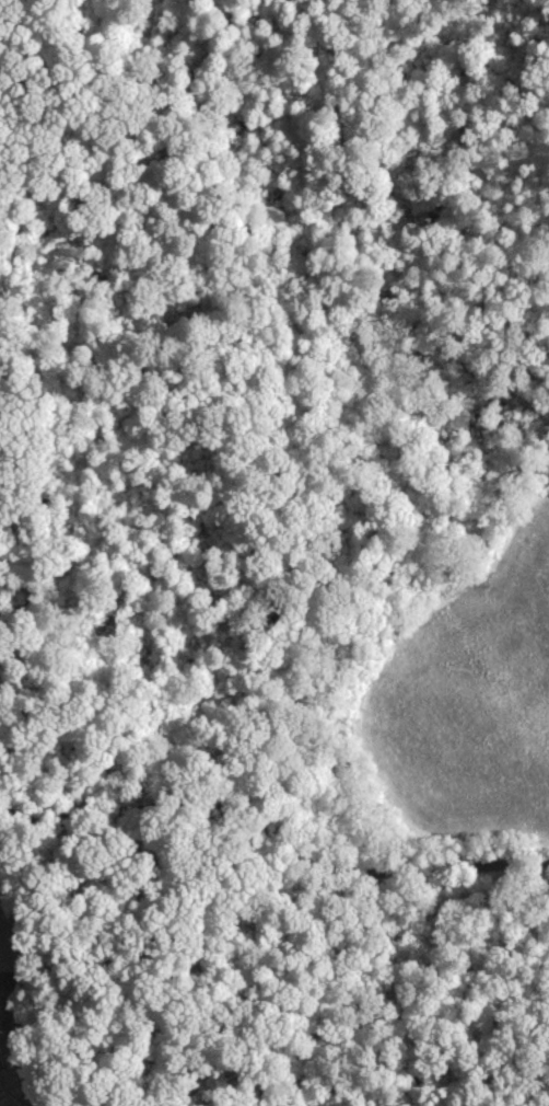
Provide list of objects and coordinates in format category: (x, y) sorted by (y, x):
road: (274, 846)
road: (23, 976)

